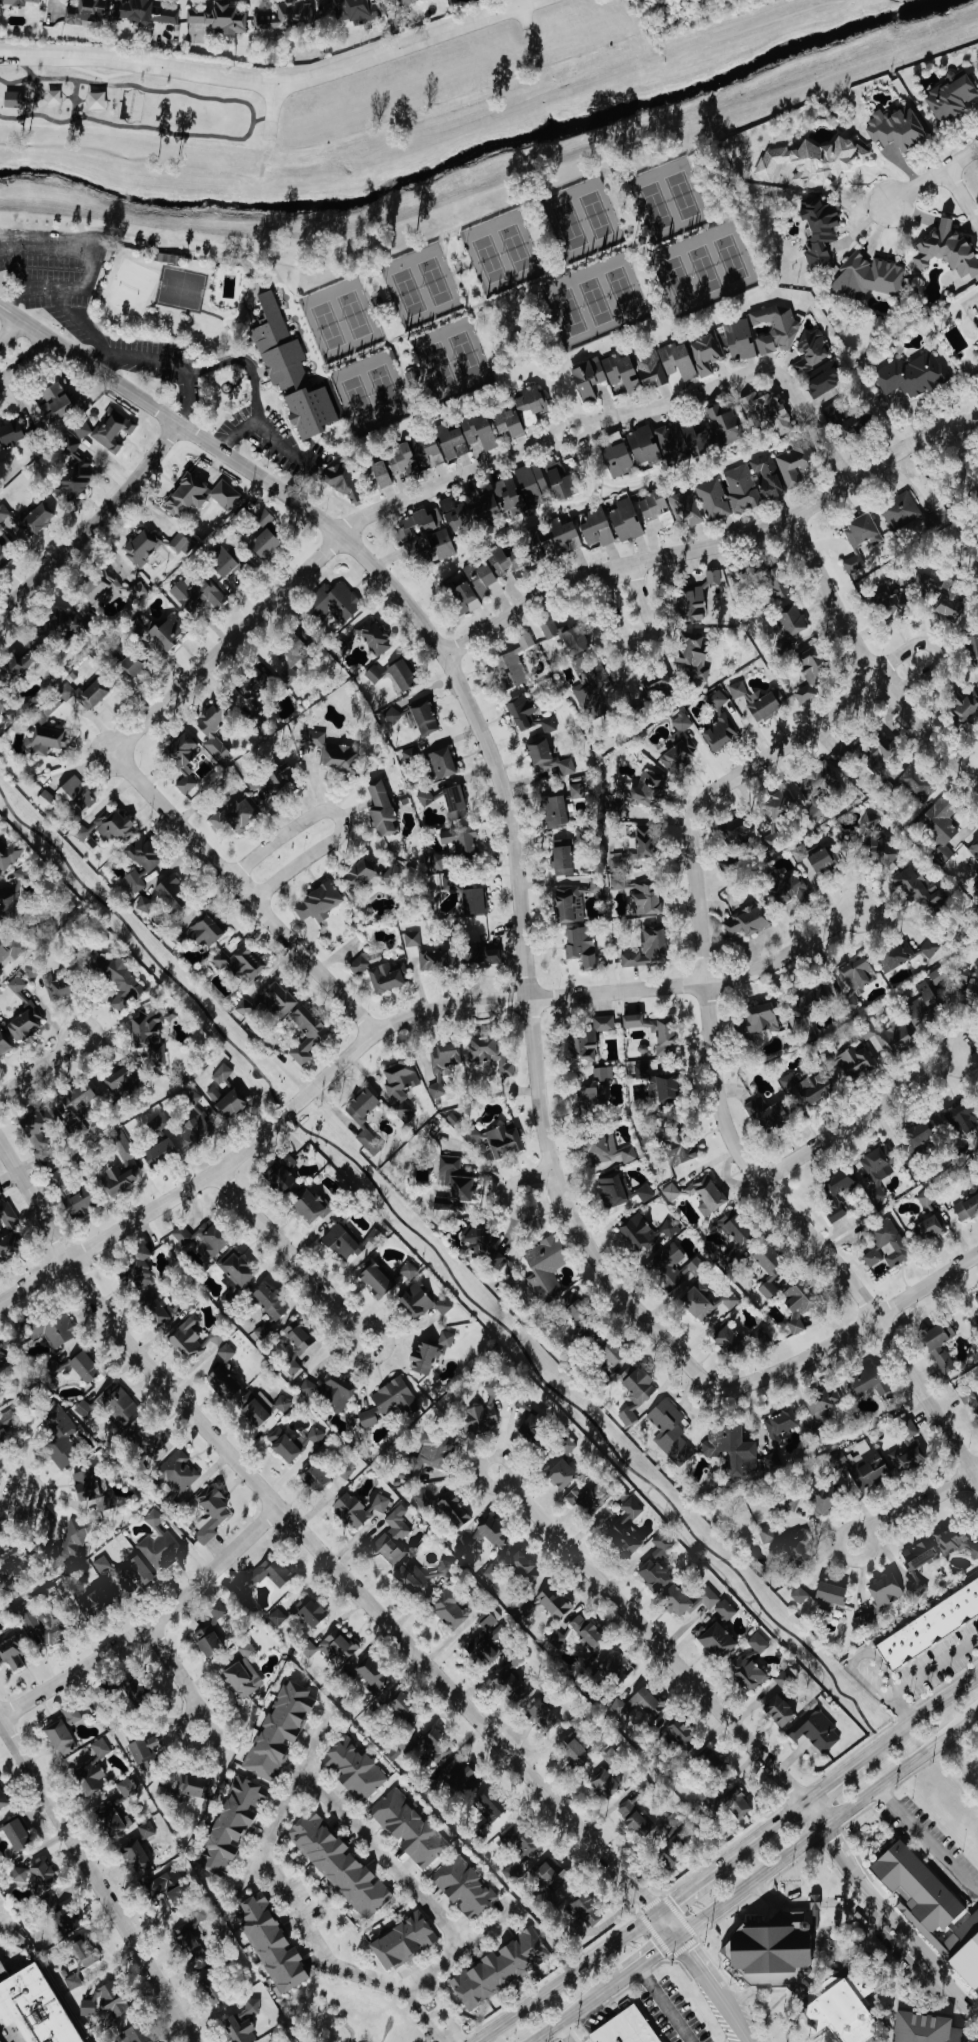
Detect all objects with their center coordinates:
building: (0, 1)
building: (406, 1)
building: (17, 2)
building: (353, 9)
building: (143, 11)
building: (88, 12)
road: (522, 15)
building: (286, 16)
building: (218, 17)
road: (885, 58)
road: (270, 81)
building: (950, 95)
road: (271, 110)
building: (895, 127)
road: (423, 143)
road: (263, 157)
building: (811, 158)
road: (933, 173)
road: (961, 194)
road: (261, 204)
road: (446, 209)
road: (635, 213)
building: (818, 228)
road: (552, 233)
road: (53, 246)
building: (947, 248)
road: (470, 270)
building: (868, 275)
road: (87, 278)
road: (519, 288)
road: (62, 296)
road: (287, 302)
road: (10, 328)
building: (775, 328)
road: (398, 336)
building: (738, 338)
building: (811, 349)
building: (705, 352)
road: (25, 359)
road: (167, 359)
building: (676, 359)
road: (88, 362)
road: (247, 362)
building: (650, 367)
building: (290, 370)
building: (603, 374)
building: (911, 374)
building: (411, 376)
building: (823, 377)
road: (688, 396)
building: (55, 402)
building: (335, 403)
building: (529, 404)
building: (766, 410)
building: (855, 415)
building: (507, 422)
road: (562, 422)
building: (723, 423)
road: (814, 426)
building: (12, 429)
building: (113, 430)
building: (477, 430)
road: (265, 431)
building: (614, 437)
building: (684, 440)
building: (450, 441)
road: (570, 442)
building: (642, 444)
building: (416, 455)
building: (616, 459)
building: (72, 462)
building: (793, 462)
building: (376, 472)
building: (556, 477)
building: (341, 481)
building: (752, 482)
building: (520, 488)
building: (199, 495)
building: (713, 498)
building: (652, 505)
building: (684, 506)
building: (901, 511)
building: (4, 512)
building: (36, 517)
building: (263, 517)
building: (625, 520)
road: (95, 522)
building: (412, 524)
building: (596, 527)
building: (861, 529)
building: (251, 533)
building: (557, 539)
building: (181, 542)
building: (262, 542)
road: (713, 544)
building: (141, 545)
building: (435, 545)
building: (3, 556)
building: (221, 561)
building: (506, 562)
building: (853, 563)
road: (304, 569)
building: (716, 576)
building: (484, 581)
building: (97, 584)
building: (779, 586)
building: (197, 594)
building: (463, 597)
building: (888, 600)
building: (948, 601)
building: (335, 605)
building: (688, 606)
building: (791, 619)
building: (59, 623)
building: (549, 628)
building: (167, 633)
building: (374, 637)
building: (576, 638)
building: (526, 640)
road: (639, 645)
road: (936, 647)
building: (972, 648)
building: (290, 651)
building: (691, 656)
road: (866, 661)
building: (12, 664)
building: (129, 666)
building: (511, 668)
building: (810, 672)
building: (373, 673)
building: (401, 674)
building: (253, 682)
building: (64, 689)
building: (592, 689)
building: (737, 689)
building: (93, 692)
building: (774, 693)
building: (3, 703)
building: (963, 703)
building: (761, 704)
building: (520, 711)
building: (391, 714)
building: (424, 716)
building: (719, 723)
building: (548, 724)
building: (214, 726)
building: (48, 729)
building: (679, 745)
building: (333, 752)
building: (846, 753)
building: (410, 754)
building: (548, 758)
building: (182, 760)
building: (442, 762)
building: (273, 780)
building: (913, 780)
building: (816, 781)
building: (649, 787)
building: (577, 790)
building: (75, 795)
building: (425, 796)
building: (454, 801)
building: (776, 804)
building: (381, 808)
building: (555, 810)
building: (231, 814)
road: (336, 815)
building: (115, 826)
building: (939, 827)
building: (735, 829)
building: (81, 831)
building: (876, 840)
building: (461, 842)
building: (642, 844)
building: (974, 849)
building: (561, 854)
building: (10, 855)
building: (812, 856)
building: (141, 861)
building: (617, 863)
road: (516, 867)
building: (356, 875)
building: (448, 881)
building: (597, 886)
building: (915, 886)
building: (786, 887)
road: (242, 891)
building: (172, 892)
building: (646, 898)
building: (474, 900)
building: (7, 902)
building: (318, 902)
building: (145, 904)
building: (568, 904)
building: (746, 920)
building: (205, 930)
building: (580, 945)
building: (930, 947)
building: (647, 948)
building: (3, 951)
building: (429, 953)
building: (483, 954)
building: (895, 954)
building: (241, 962)
building: (381, 972)
building: (937, 975)
building: (118, 979)
building: (17, 983)
building: (56, 986)
building: (972, 989)
building: (276, 999)
building: (923, 1006)
building: (247, 1007)
building: (760, 1019)
road: (395, 1021)
building: (25, 1022)
building: (654, 1029)
building: (869, 1030)
building: (305, 1032)
building: (148, 1034)
building: (898, 1037)
building: (588, 1039)
building: (4, 1043)
building: (441, 1063)
building: (851, 1063)
road: (41, 1065)
building: (640, 1070)
building: (222, 1073)
building: (603, 1073)
road: (712, 1073)
building: (399, 1077)
building: (121, 1083)
building: (807, 1087)
building: (665, 1090)
building: (214, 1093)
building: (189, 1095)
building: (77, 1098)
building: (593, 1098)
building: (230, 1103)
building: (361, 1104)
building: (766, 1112)
road: (860, 1116)
building: (957, 1119)
building: (196, 1130)
building: (40, 1132)
building: (473, 1134)
building: (916, 1135)
building: (503, 1140)
building: (369, 1141)
building: (123, 1145)
building: (606, 1148)
building: (679, 1151)
building: (160, 1152)
building: (877, 1160)
building: (281, 1172)
building: (117, 1179)
building: (61, 1180)
building: (454, 1184)
building: (612, 1190)
building: (671, 1191)
building: (644, 1192)
building: (835, 1192)
building: (0, 1193)
building: (705, 1195)
building: (926, 1197)
road: (506, 1201)
building: (77, 1203)
building: (307, 1205)
building: (967, 1205)
building: (670, 1227)
building: (928, 1227)
building: (7, 1230)
building: (638, 1232)
building: (737, 1234)
building: (203, 1237)
building: (340, 1242)
building: (483, 1244)
building: (887, 1245)
road: (291, 1255)
road: (444, 1262)
building: (545, 1266)
building: (672, 1267)
building: (768, 1267)
building: (237, 1268)
building: (137, 1269)
building: (409, 1270)
building: (375, 1279)
building: (976, 1297)
building: (269, 1301)
building: (421, 1301)
building: (705, 1301)
building: (797, 1305)
building: (154, 1307)
road: (854, 1329)
building: (50, 1330)
building: (264, 1331)
building: (192, 1338)
building: (726, 1339)
building: (300, 1340)
building: (939, 1344)
building: (226, 1351)
building: (429, 1353)
building: (612, 1353)
building: (1, 1362)
building: (83, 1366)
building: (293, 1366)
building: (57, 1367)
building: (222, 1379)
building: (866, 1379)
building: (636, 1384)
building: (308, 1386)
building: (336, 1392)
building: (969, 1399)
building: (388, 1401)
building: (522, 1402)
building: (283, 1403)
building: (116, 1404)
building: (820, 1407)
building: (83, 1408)
building: (255, 1411)
building: (481, 1413)
building: (628, 1415)
building: (6, 1418)
building: (780, 1422)
building: (532, 1428)
building: (671, 1429)
building: (59, 1434)
building: (316, 1434)
building: (4, 1440)
building: (145, 1441)
building: (566, 1443)
building: (283, 1445)
building: (730, 1448)
building: (906, 1448)
building: (430, 1452)
building: (773, 1459)
building: (862, 1467)
building: (344, 1469)
building: (176, 1472)
building: (560, 1474)
building: (315, 1477)
building: (88, 1486)
building: (423, 1498)
building: (583, 1499)
building: (823, 1499)
road: (11, 1501)
building: (378, 1501)
building: (105, 1502)
road: (914, 1504)
building: (352, 1510)
building: (453, 1511)
building: (210, 1513)
building: (625, 1528)
building: (491, 1532)
building: (393, 1533)
building: (766, 1535)
building: (951, 1541)
building: (158, 1542)
building: (463, 1544)
building: (70, 1545)
building: (661, 1546)
building: (796, 1548)
building: (974, 1552)
road: (321, 1553)
building: (918, 1560)
building: (12, 1561)
building: (521, 1566)
building: (491, 1572)
building: (264, 1574)
building: (426, 1575)
building: (652, 1575)
building: (73, 1584)
building: (884, 1591)
building: (829, 1593)
building: (799, 1595)
building: (687, 1600)
building: (91, 1601)
building: (552, 1602)
building: (448, 1608)
building: (218, 1609)
building: (725, 1609)
building: (311, 1613)
building: (278, 1616)
road: (148, 1623)
building: (41, 1626)
building: (929, 1626)
building: (581, 1633)
road: (648, 1635)
building: (485, 1637)
building: (207, 1641)
building: (716, 1641)
building: (758, 1642)
building: (332, 1645)
building: (13, 1650)
building: (517, 1657)
road: (853, 1659)
building: (609, 1665)
building: (243, 1672)
road: (923, 1672)
road: (180, 1674)
building: (371, 1674)
building: (748, 1674)
building: (510, 1687)
building: (639, 1704)
building: (403, 1706)
building: (778, 1710)
building: (71, 1713)
road: (916, 1714)
building: (542, 1716)
building: (278, 1730)
building: (814, 1730)
building: (675, 1734)
building: (60, 1737)
building: (143, 1748)
building: (426, 1748)
building: (572, 1750)
building: (711, 1761)
building: (354, 1768)
building: (93, 1769)
road: (829, 1780)
building: (464, 1781)
building: (193, 1784)
building: (605, 1784)
road: (290, 1785)
building: (128, 1786)
building: (431, 1786)
building: (2, 1798)
building: (736, 1801)
building: (488, 1804)
building: (634, 1816)
building: (114, 1819)
building: (675, 1819)
road: (825, 1823)
building: (408, 1827)
building: (147, 1829)
building: (16, 1832)
road: (756, 1835)
road: (927, 1838)
parking lot: (935, 1847)
road: (383, 1856)
building: (338, 1864)
building: (535, 1868)
building: (19, 1874)
building: (41, 1874)
road: (97, 1881)
building: (167, 1886)
building: (463, 1886)
building: (915, 1888)
road: (683, 1890)
building: (586, 1909)
road: (887, 1909)
traffic signals: (656, 1910)
building: (61, 1915)
building: (188, 1936)
traffic signals: (676, 1938)
building: (402, 1939)
building: (269, 1942)
road: (314, 1942)
building: (771, 1949)
building: (83, 1950)
road: (456, 1951)
road: (648, 1957)
building: (498, 1967)
road: (565, 1976)
building: (74, 1980)
road: (715, 1987)
building: (209, 1988)
building: (111, 1998)
road: (664, 2004)
building: (87, 2006)
road: (443, 2007)
building: (31, 2008)
road: (576, 2009)
building: (845, 2010)
parking lot: (670, 2012)
road: (424, 2017)
building: (243, 2022)
building: (619, 2026)
building: (924, 2028)
building: (133, 2033)
road: (563, 2033)
parking lot: (763, 2040)

